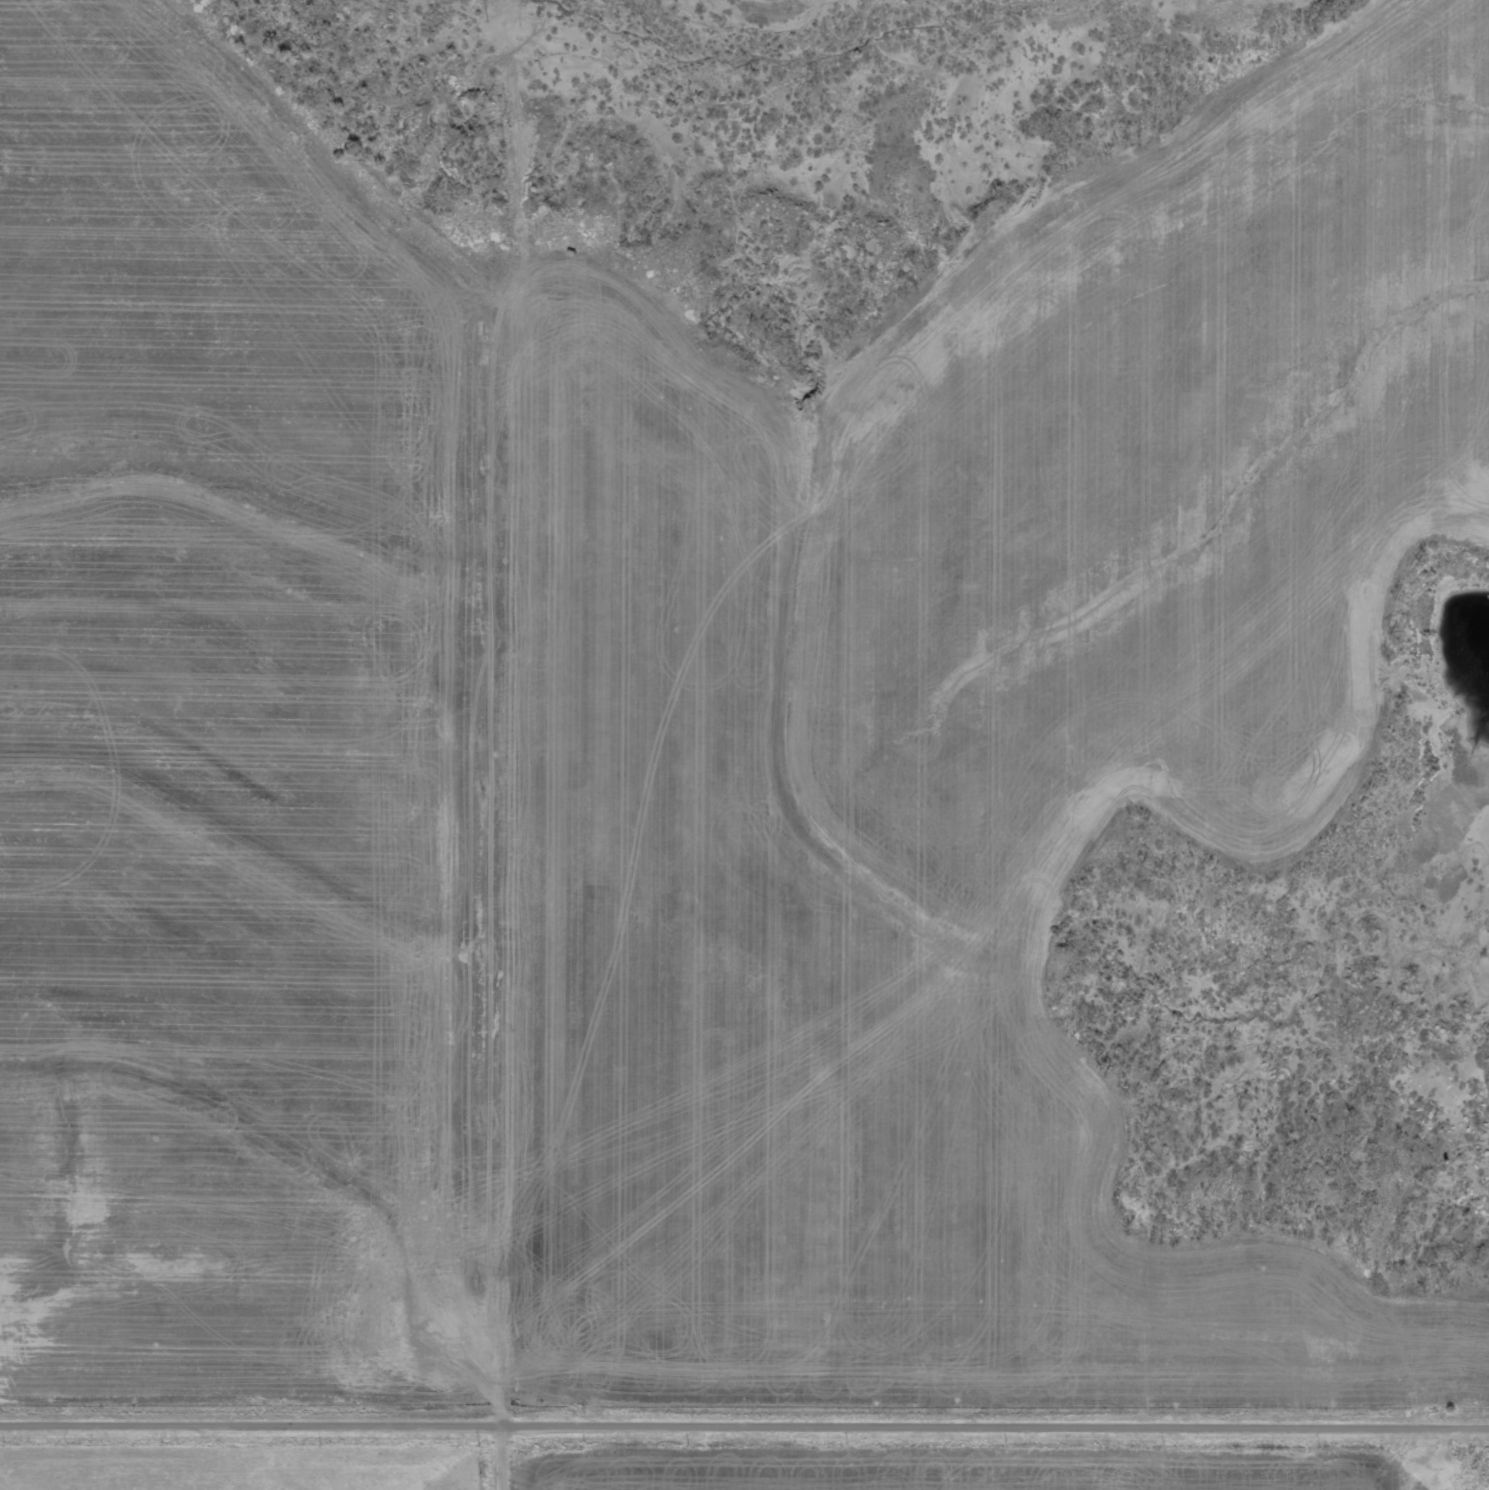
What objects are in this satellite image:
road: (744, 1424)
road: (508, 1457)

